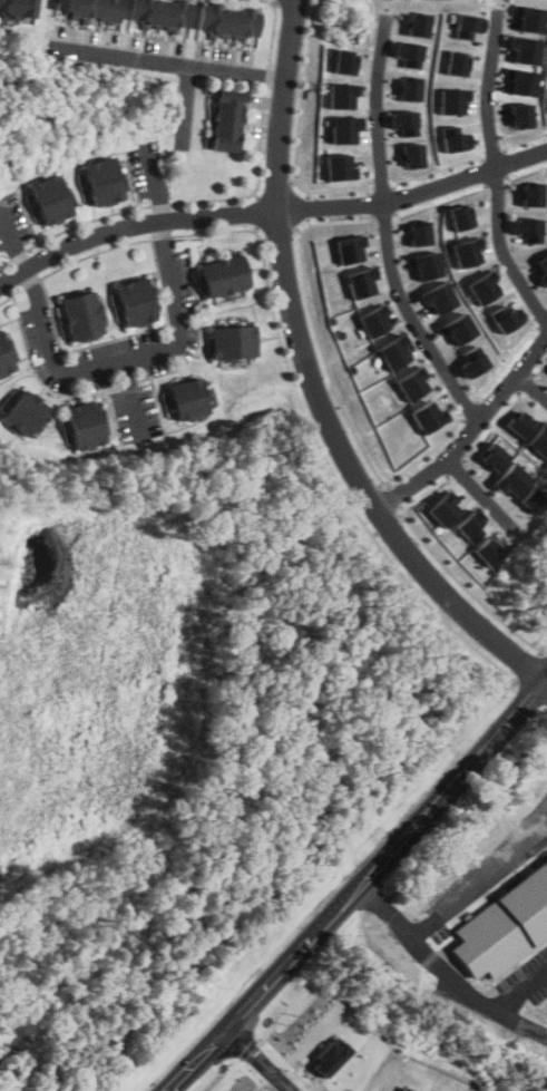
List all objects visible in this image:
building: (17, 7)
building: (88, 8)
building: (159, 12)
building: (227, 18)
building: (529, 18)
building: (417, 25)
building: (467, 25)
building: (525, 49)
building: (408, 52)
road: (169, 61)
building: (343, 61)
building: (456, 64)
building: (521, 81)
building: (409, 88)
building: (341, 95)
building: (452, 100)
road: (184, 105)
building: (521, 115)
building: (225, 121)
building: (403, 123)
building: (343, 128)
building: (455, 137)
building: (412, 155)
building: (339, 167)
road: (497, 172)
building: (100, 181)
road: (153, 182)
building: (533, 194)
building: (48, 199)
road: (270, 210)
building: (461, 217)
road: (387, 227)
building: (528, 228)
building: (420, 233)
road: (12, 243)
building: (350, 249)
building: (467, 252)
building: (426, 264)
building: (543, 270)
building: (222, 275)
building: (361, 281)
building: (483, 286)
road: (292, 296)
building: (439, 296)
building: (133, 302)
building: (79, 314)
building: (506, 316)
building: (374, 320)
building: (458, 328)
building: (232, 341)
building: (394, 351)
building: (4, 360)
building: (471, 361)
road: (129, 363)
building: (411, 383)
road: (533, 386)
building: (209, 393)
building: (186, 398)
building: (9, 399)
building: (22, 412)
building: (428, 417)
building: (105, 420)
building: (520, 423)
building: (82, 425)
road: (469, 429)
building: (539, 439)
building: (495, 457)
building: (514, 479)
road: (481, 491)
building: (534, 500)
building: (443, 508)
building: (471, 525)
building: (489, 552)
road: (194, 573)
road: (481, 624)
road: (545, 683)
road: (25, 763)
road: (248, 783)
road: (363, 887)
building: (505, 926)
road: (446, 971)
building: (333, 1054)
road: (264, 1060)
building: (407, 1089)

